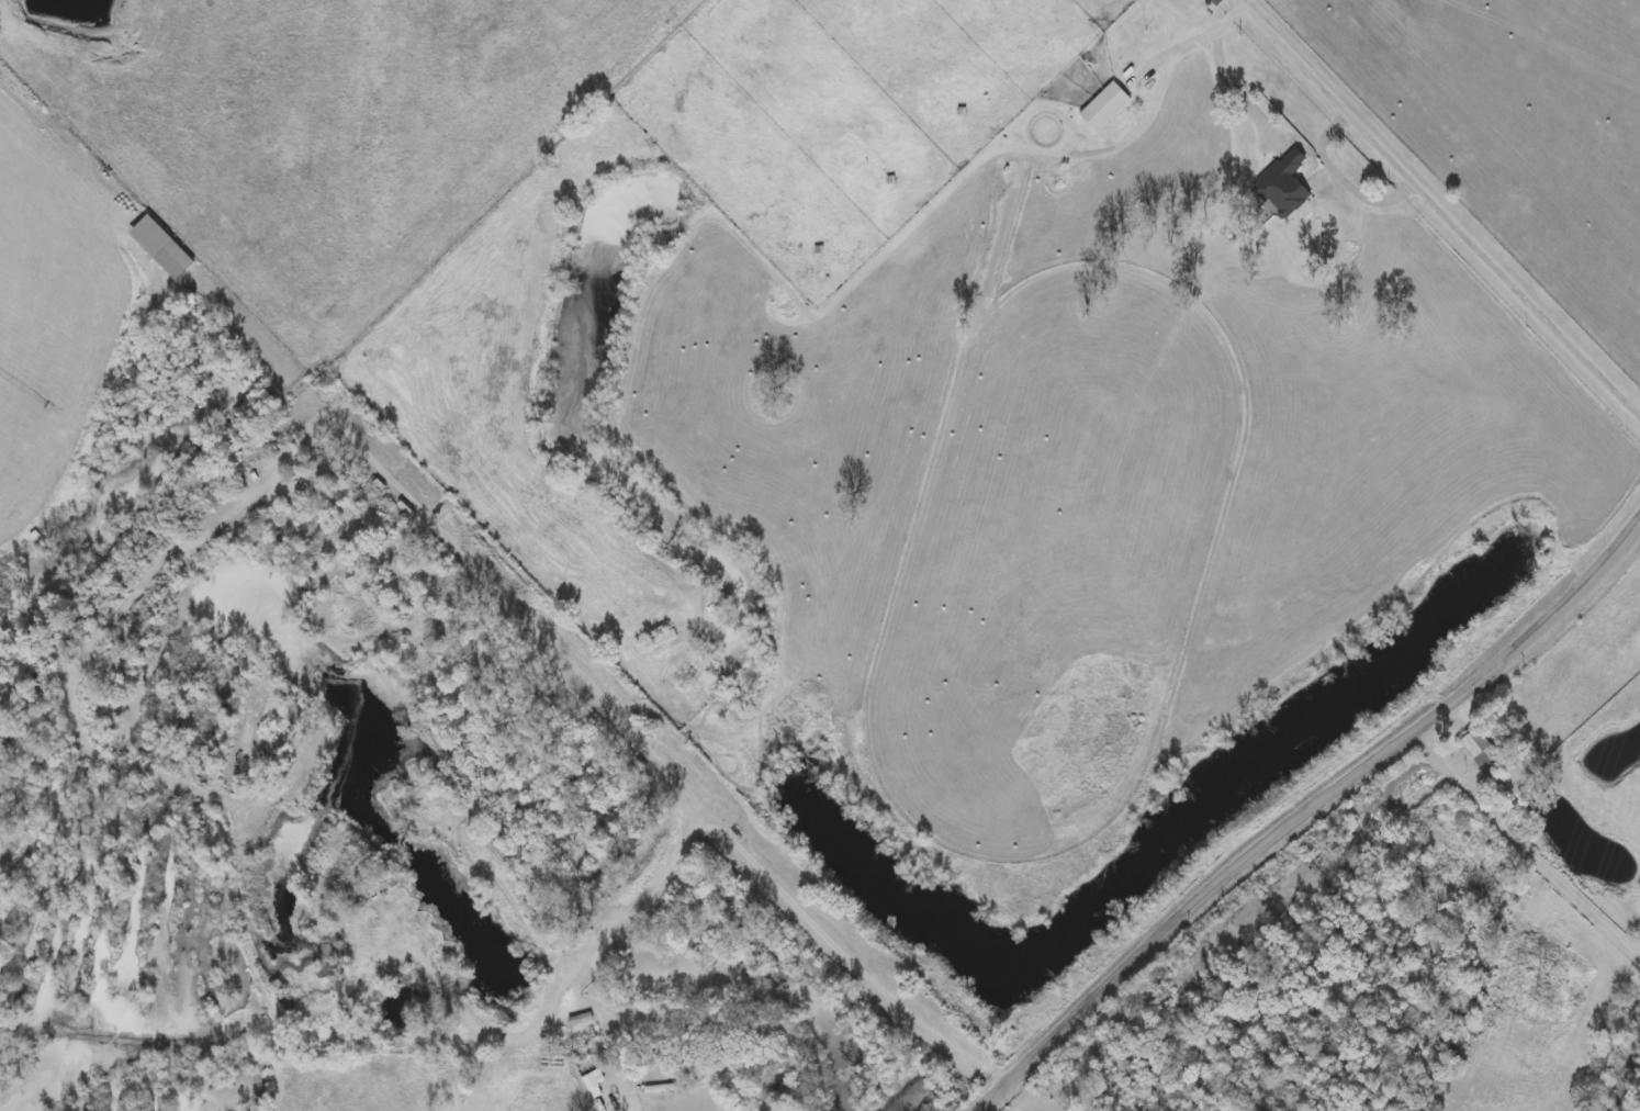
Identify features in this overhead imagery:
road: (1206, 38)
road: (1238, 92)
building: (1102, 104)
road: (67, 147)
road: (1344, 177)
building: (1278, 181)
road: (1445, 197)
building: (167, 244)
road: (109, 394)
building: (659, 638)
building: (1480, 747)
road: (684, 794)
road: (1304, 815)
road: (1528, 841)
road: (616, 914)
power tower: (1537, 992)
building: (593, 1081)

